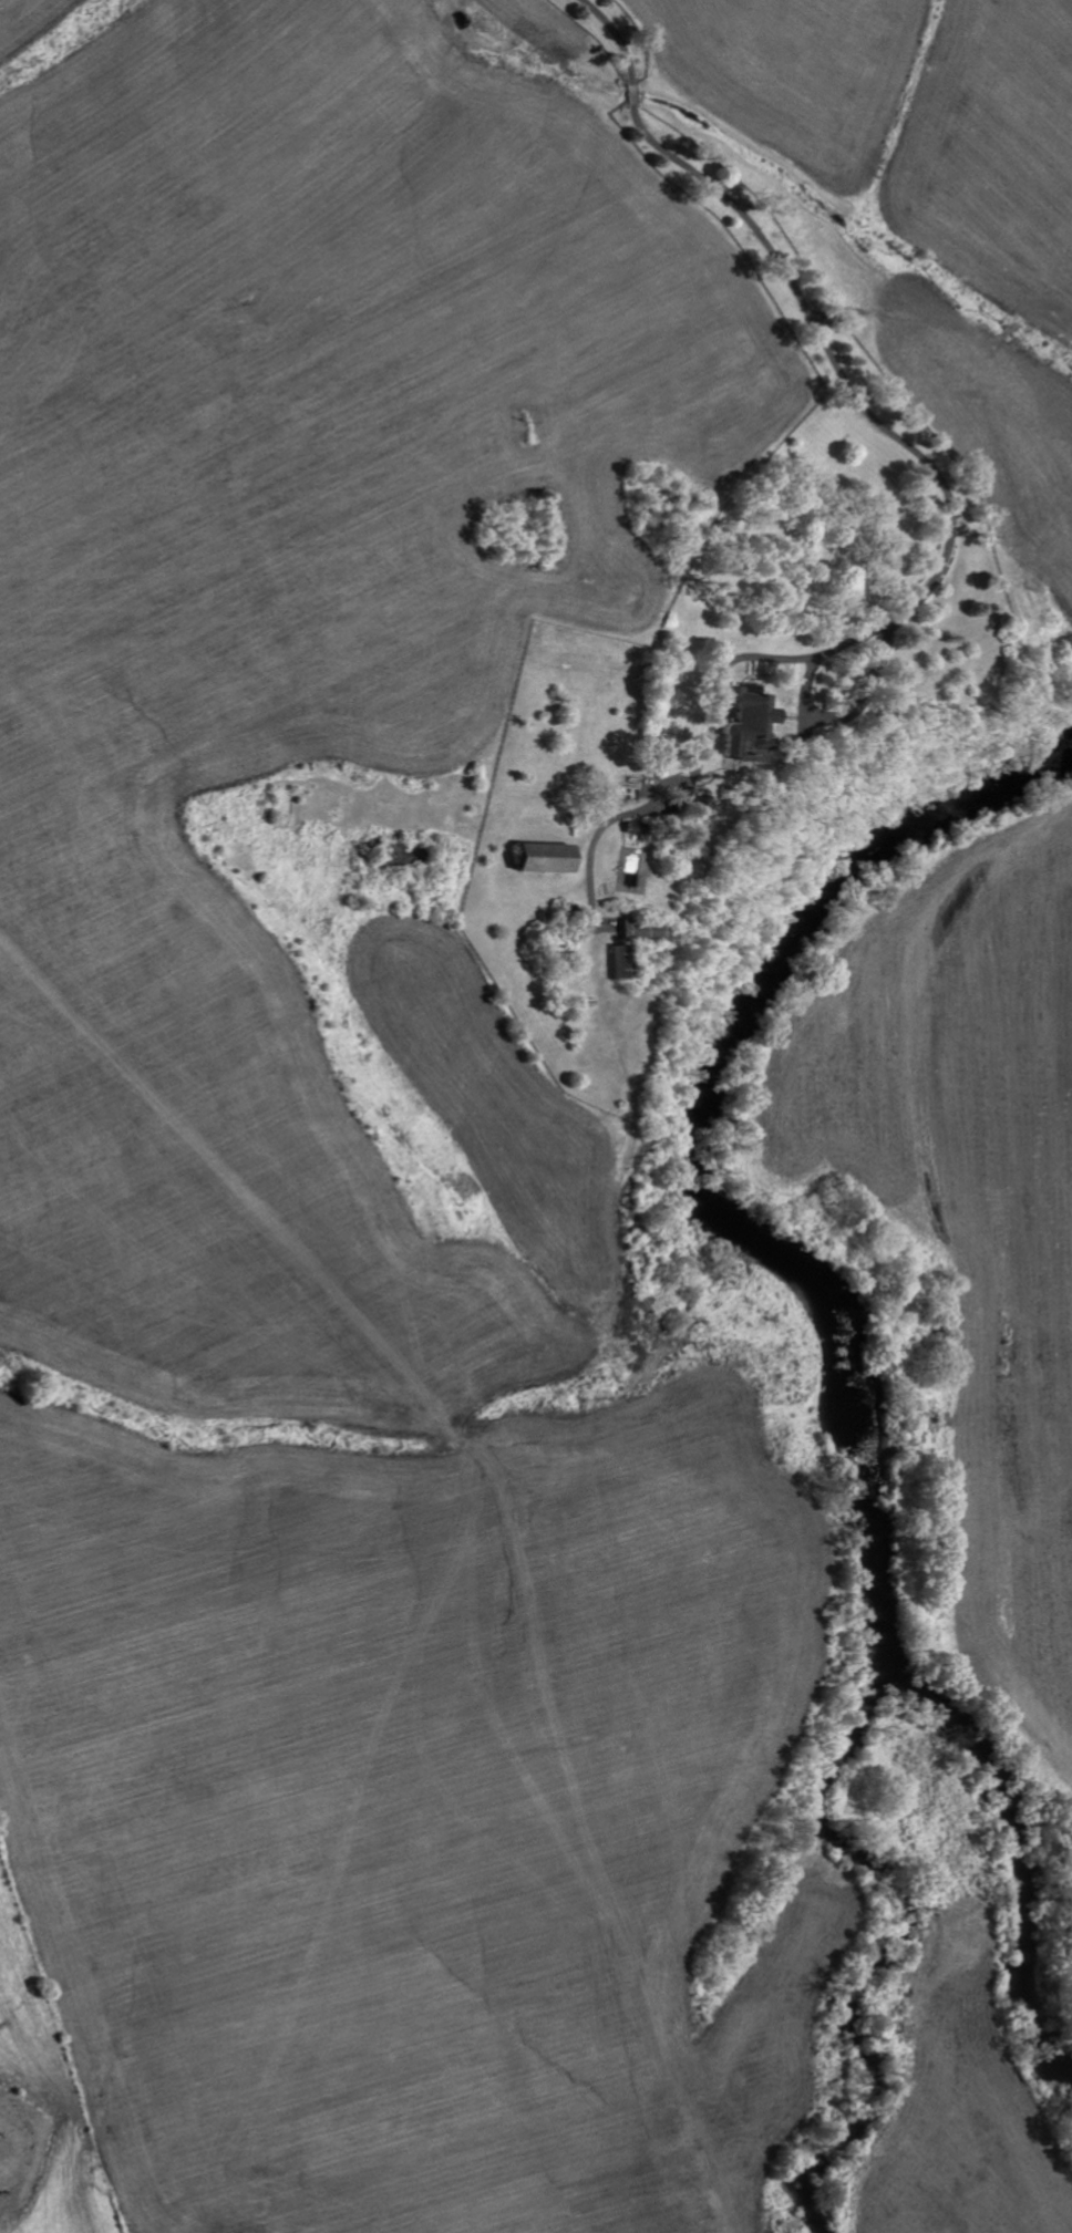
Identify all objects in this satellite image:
road: (617, 34)
road: (633, 93)
road: (947, 549)
building: (746, 722)
building: (546, 857)
building: (620, 961)

